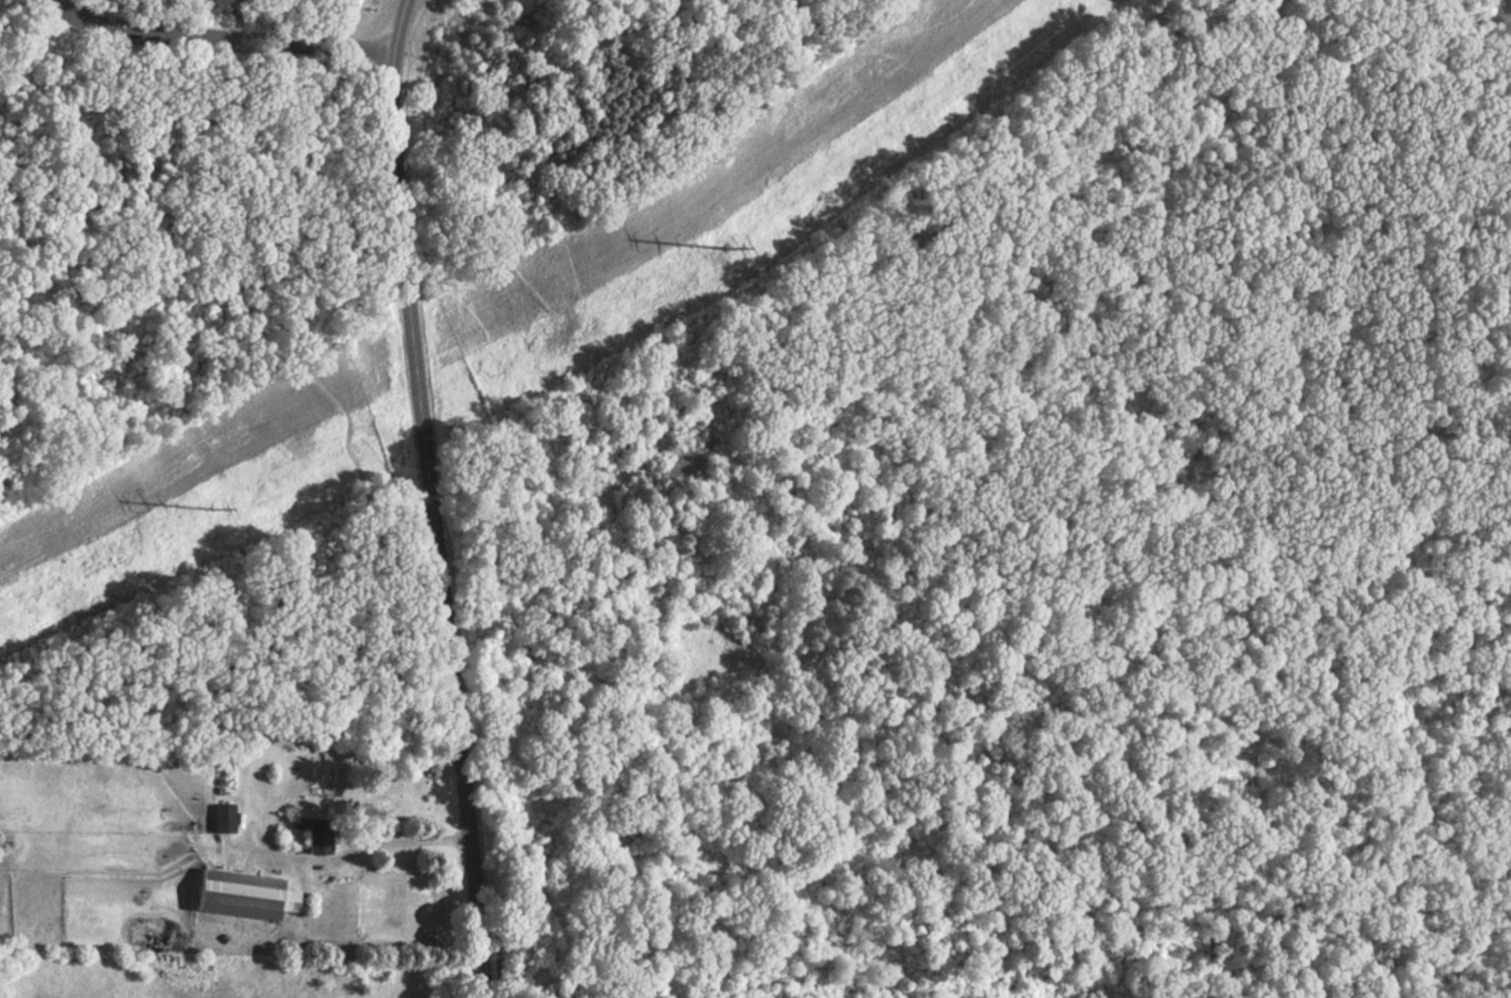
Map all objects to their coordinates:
road: (887, 21)
road: (397, 25)
road: (217, 40)
power tower: (727, 252)
park: (801, 465)
road: (369, 487)
power tower: (212, 511)
road: (434, 525)
road: (352, 853)
building: (232, 894)

